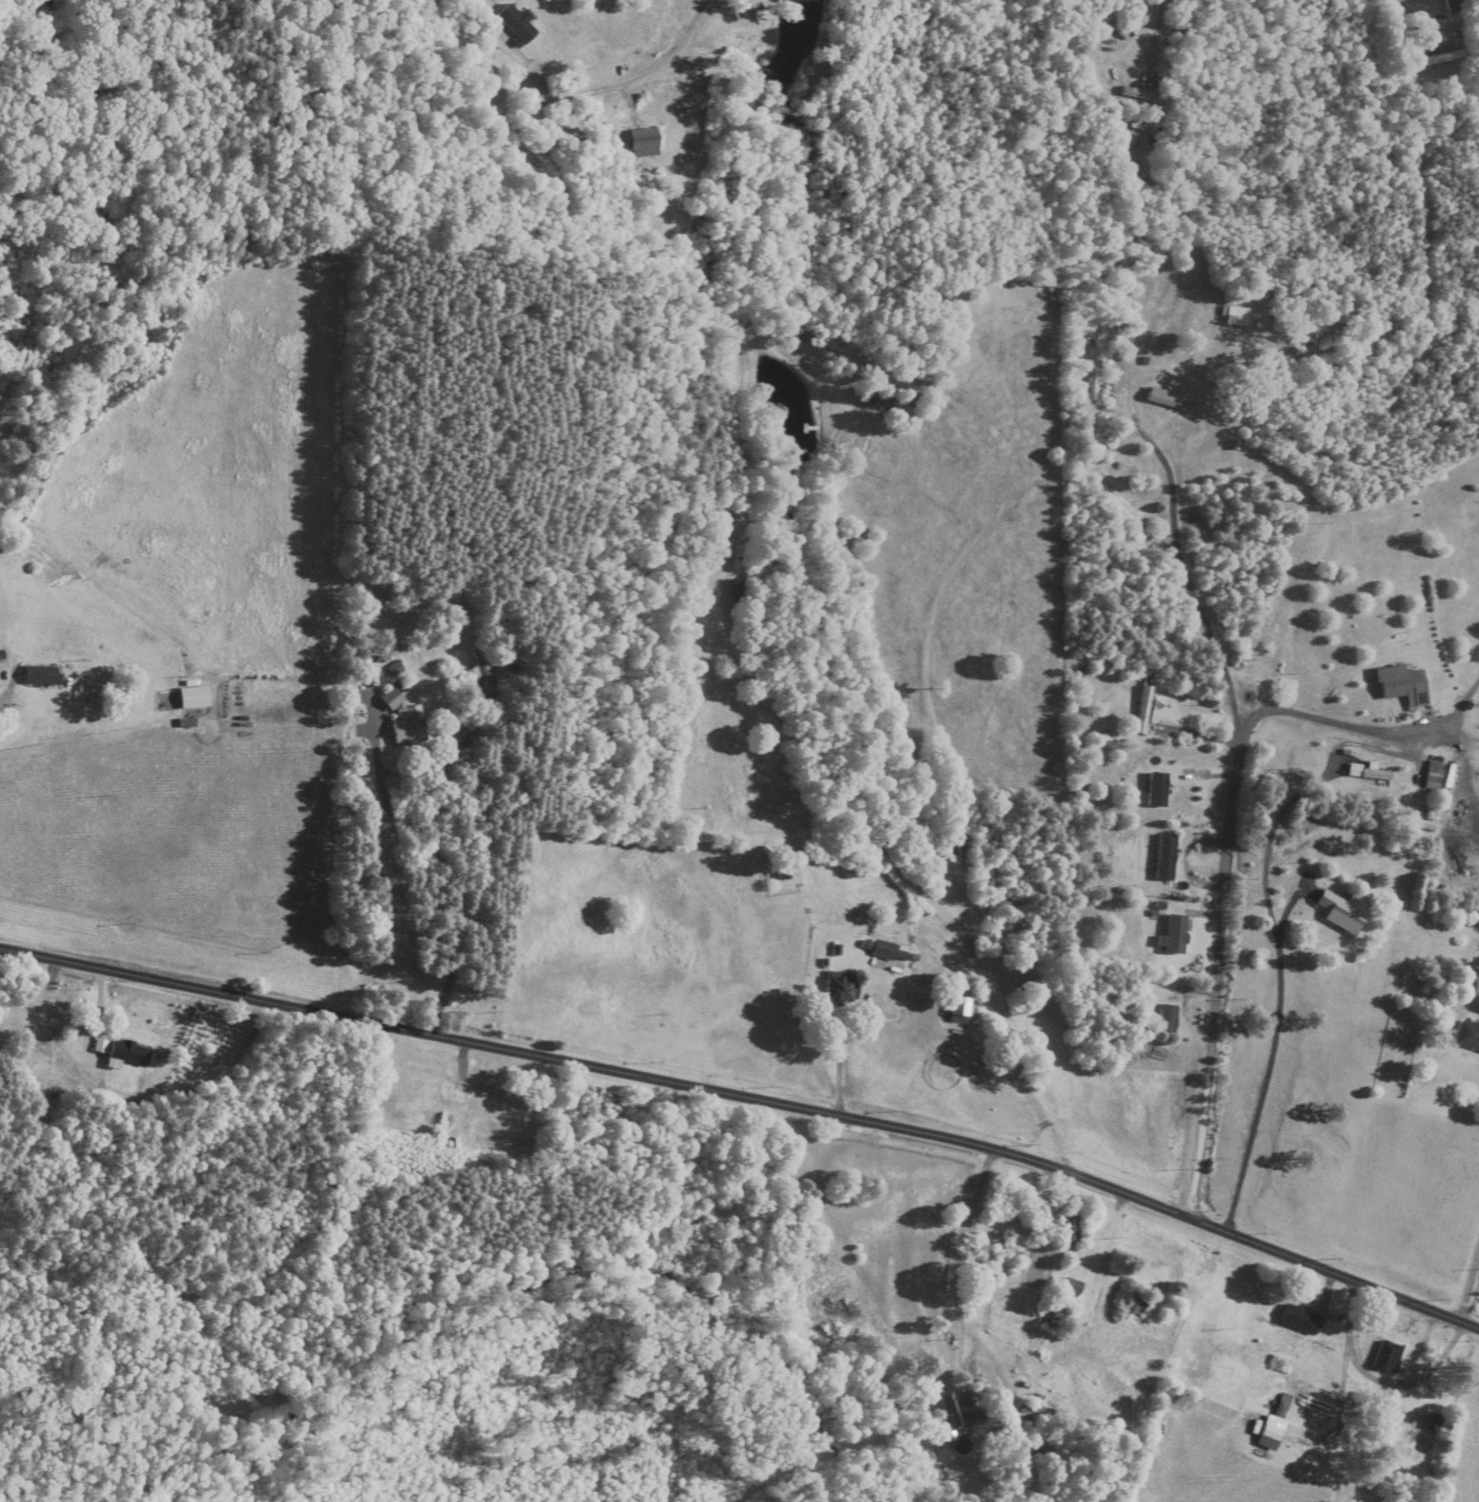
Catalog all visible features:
road: (1414, 6)
building: (1454, 7)
building: (518, 25)
building: (1439, 57)
road: (647, 67)
building: (1141, 95)
building: (644, 143)
building: (1170, 402)
road: (1181, 579)
building: (737, 590)
building: (374, 603)
building: (482, 669)
building: (42, 676)
building: (1404, 687)
road: (5, 699)
building: (1144, 710)
building: (405, 720)
building: (1370, 773)
building: (1434, 775)
building: (1156, 791)
building: (1302, 826)
building: (1165, 858)
building: (784, 872)
road: (1223, 907)
building: (1340, 913)
building: (1174, 936)
building: (839, 987)
building: (958, 1007)
building: (1166, 1020)
building: (1468, 1037)
road: (843, 1049)
road: (1269, 1052)
road: (751, 1097)
building: (474, 1104)
building: (1161, 1113)
building: (1069, 1227)
road: (960, 1257)
road: (1465, 1273)
building: (1071, 1286)
building: (1133, 1305)
building: (1051, 1315)
building: (1299, 1319)
building: (1386, 1356)
building: (1387, 1404)
building: (1281, 1406)
building: (954, 1421)

